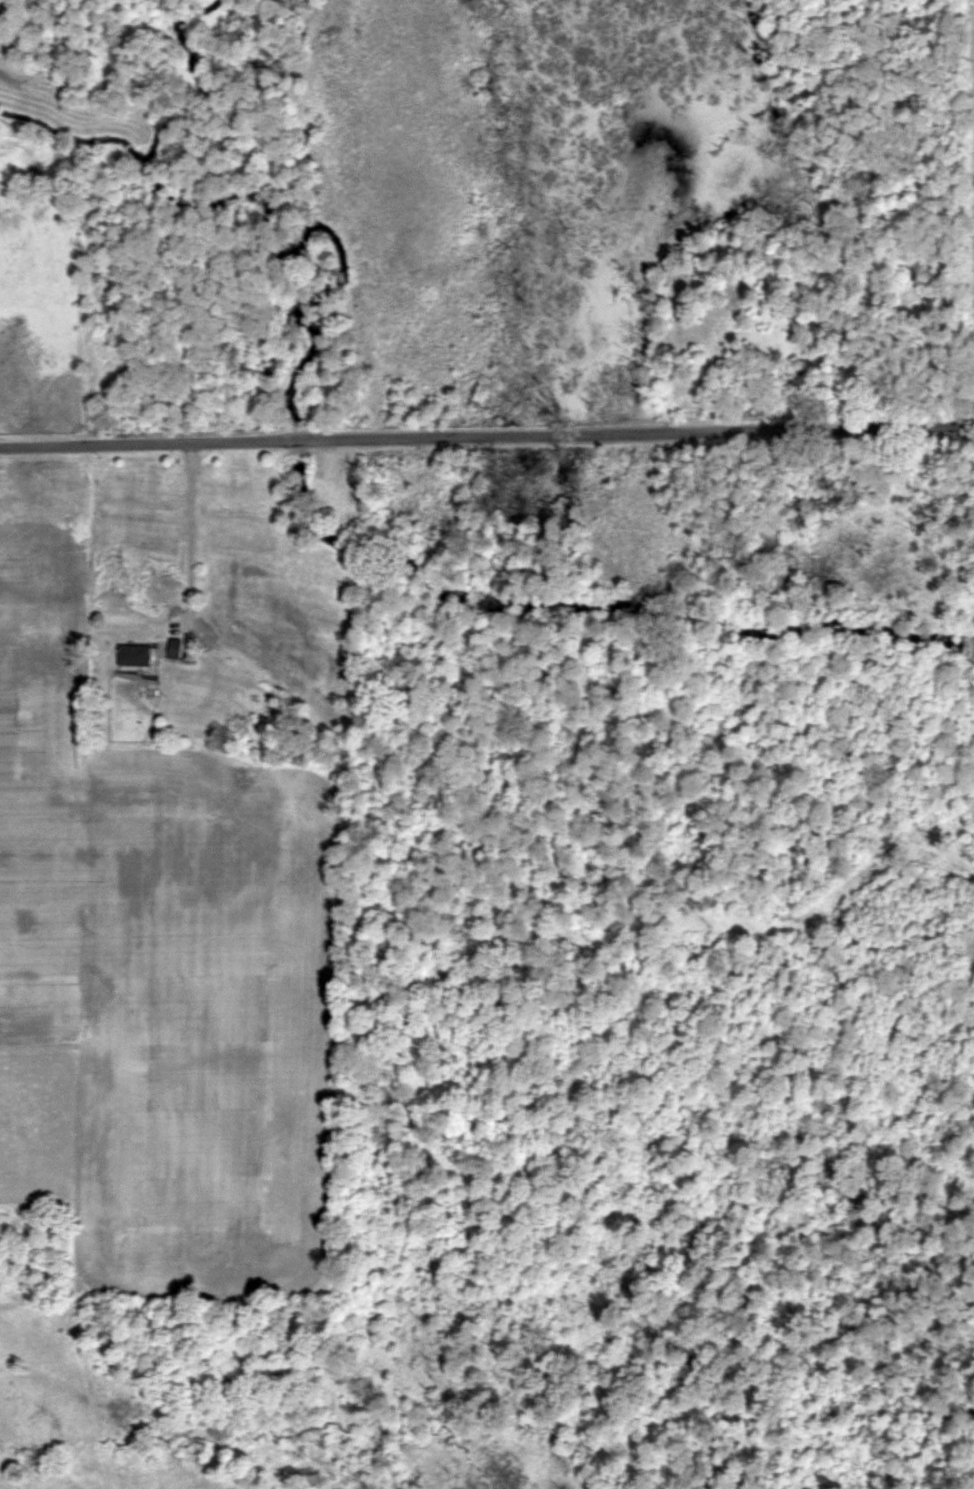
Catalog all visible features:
road: (487, 437)
road: (188, 545)
building: (174, 648)

